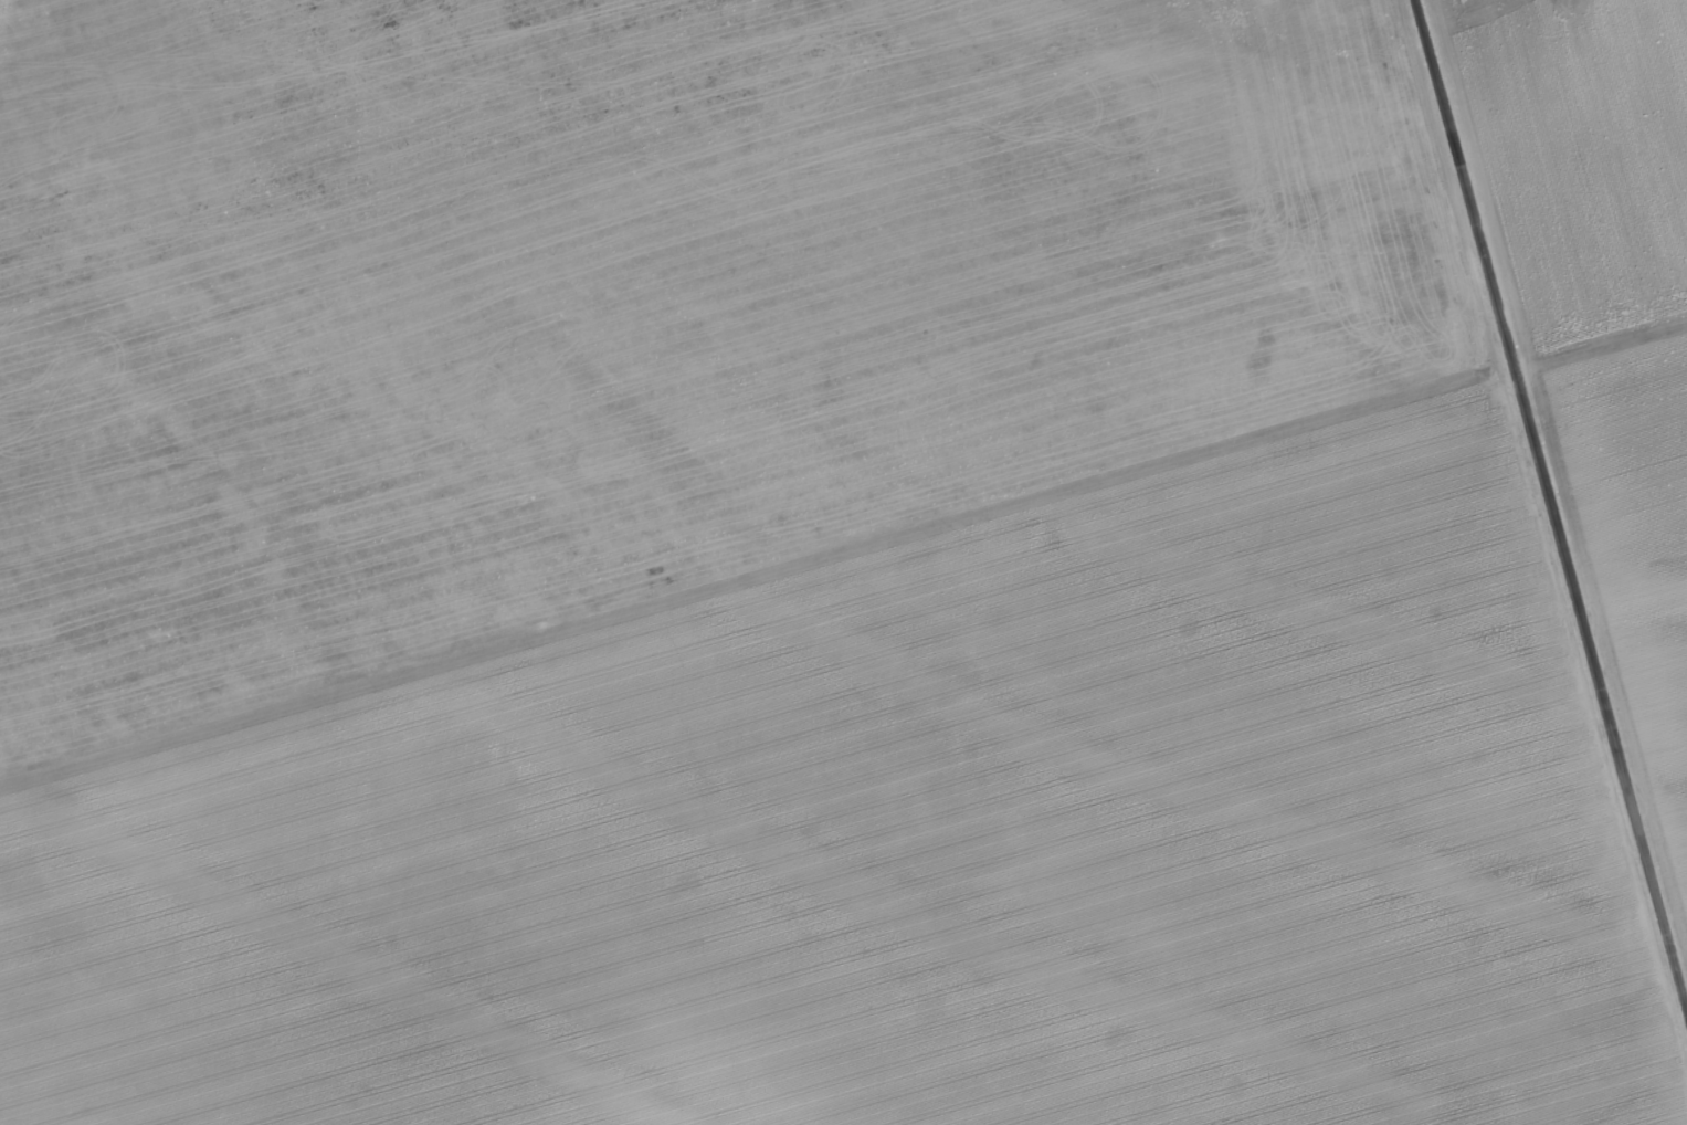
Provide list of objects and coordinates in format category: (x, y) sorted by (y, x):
road: (1543, 554)

